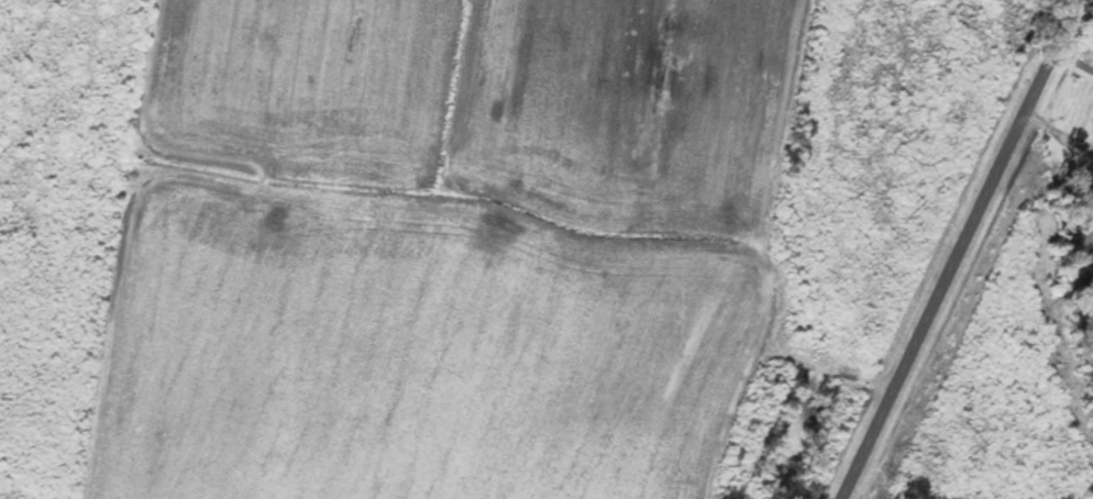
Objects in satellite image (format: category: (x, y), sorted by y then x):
road: (947, 247)

